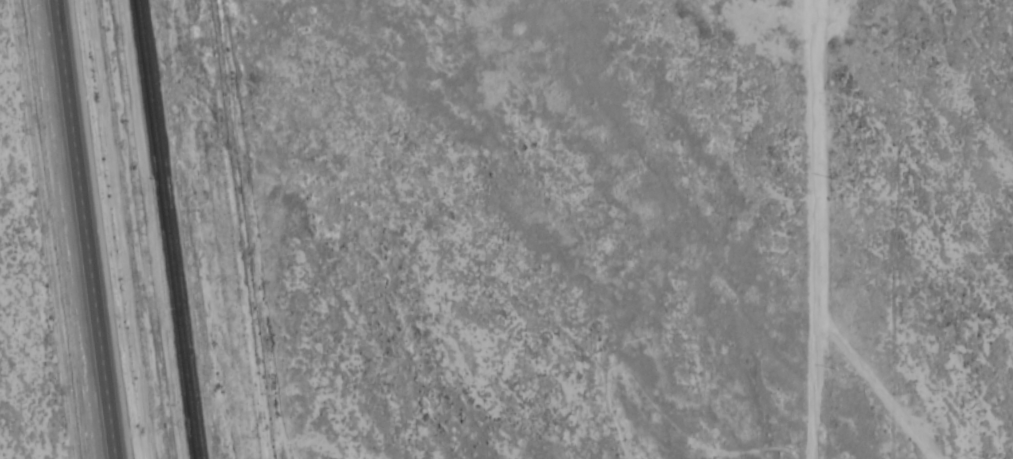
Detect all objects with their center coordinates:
road: (88, 229)
railway: (166, 229)
road: (244, 229)
road: (813, 229)

